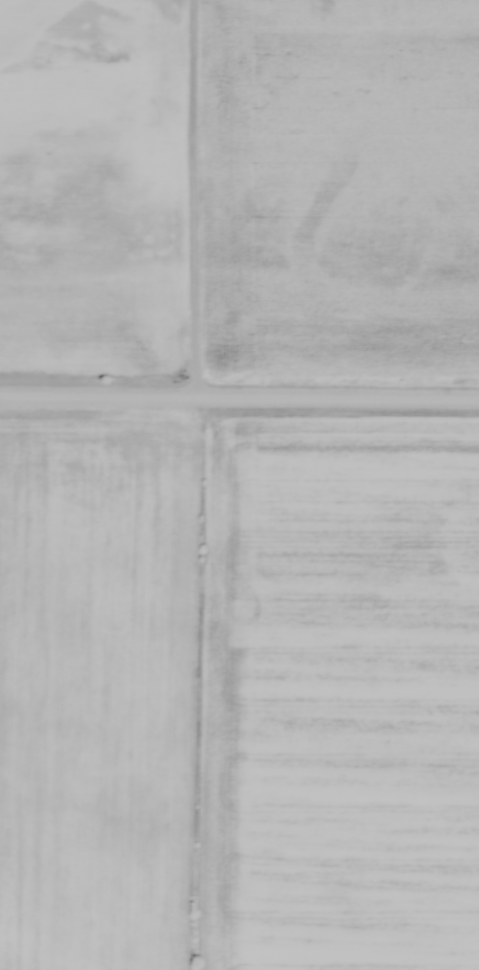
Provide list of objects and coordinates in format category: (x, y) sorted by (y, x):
road: (196, 199)
road: (239, 398)

